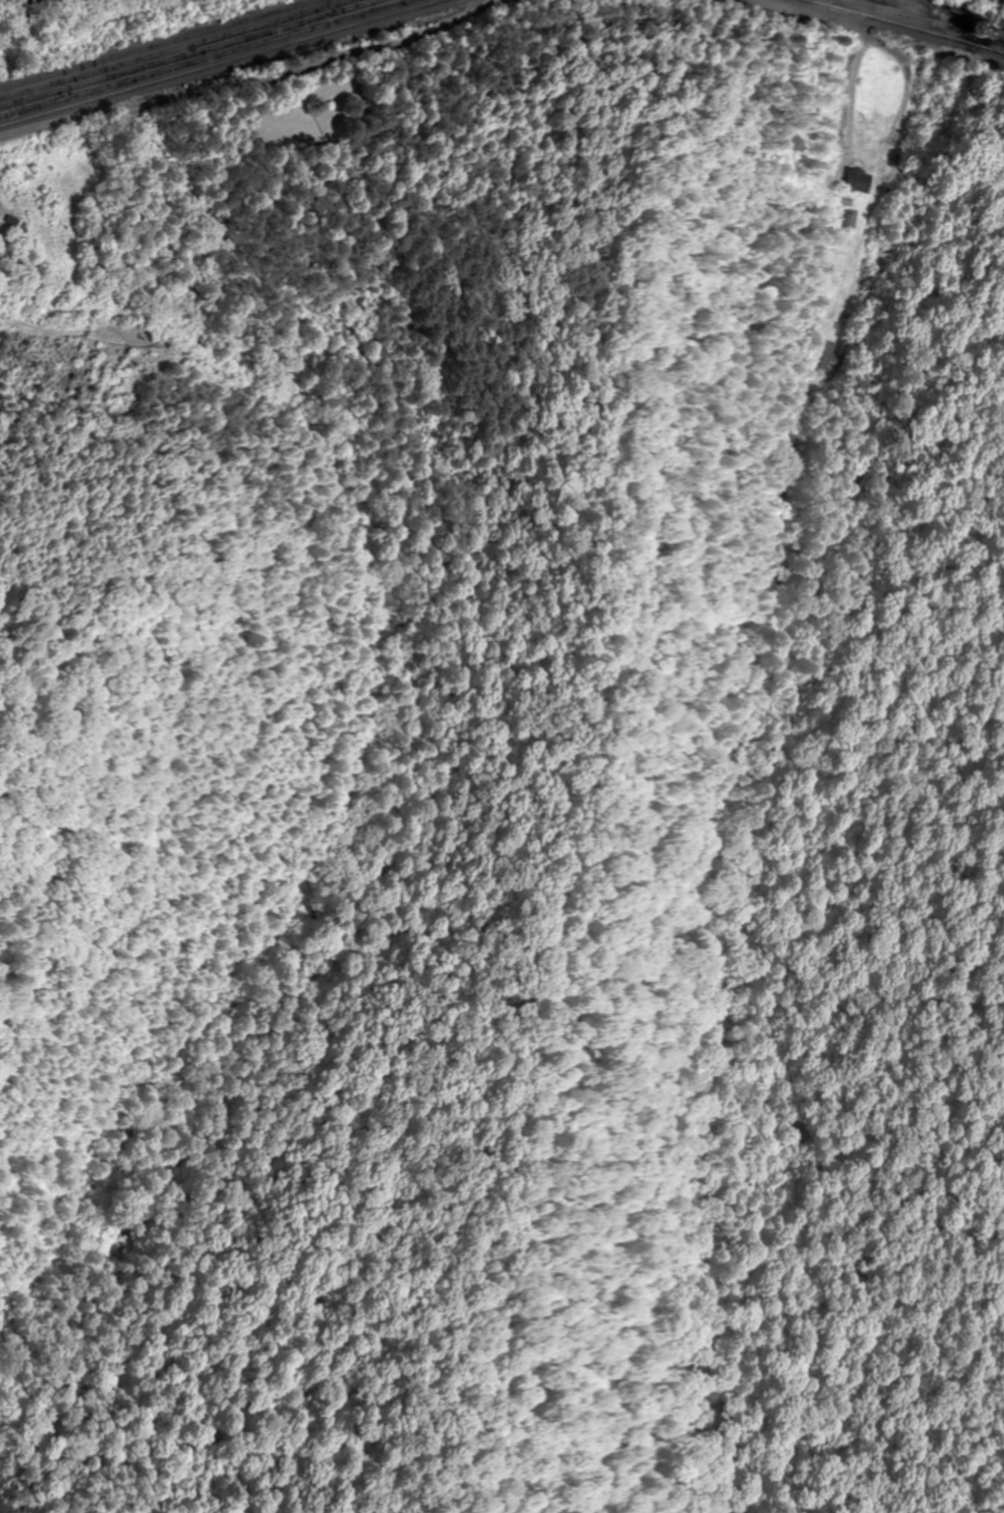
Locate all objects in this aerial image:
railway: (879, 0)
road: (837, 8)
railway: (890, 8)
road: (824, 12)
railway: (941, 17)
railway: (901, 26)
railway: (158, 45)
railway: (177, 50)
railway: (194, 55)
railway: (209, 60)
railway: (222, 65)
road: (247, 82)
road: (853, 94)
building: (856, 178)
building: (849, 220)
building: (1, 236)
road: (278, 293)
road: (163, 344)
building: (829, 358)

